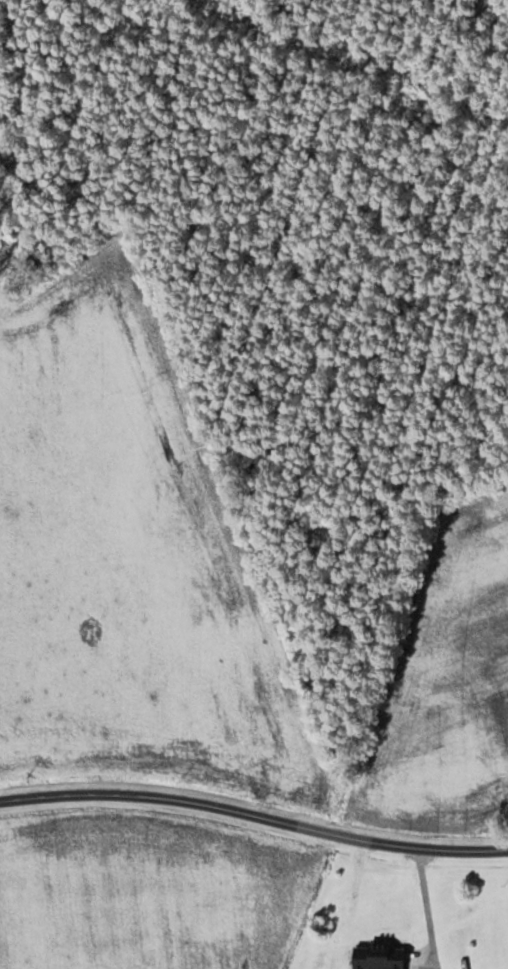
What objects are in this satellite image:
road: (254, 815)
building: (378, 960)

